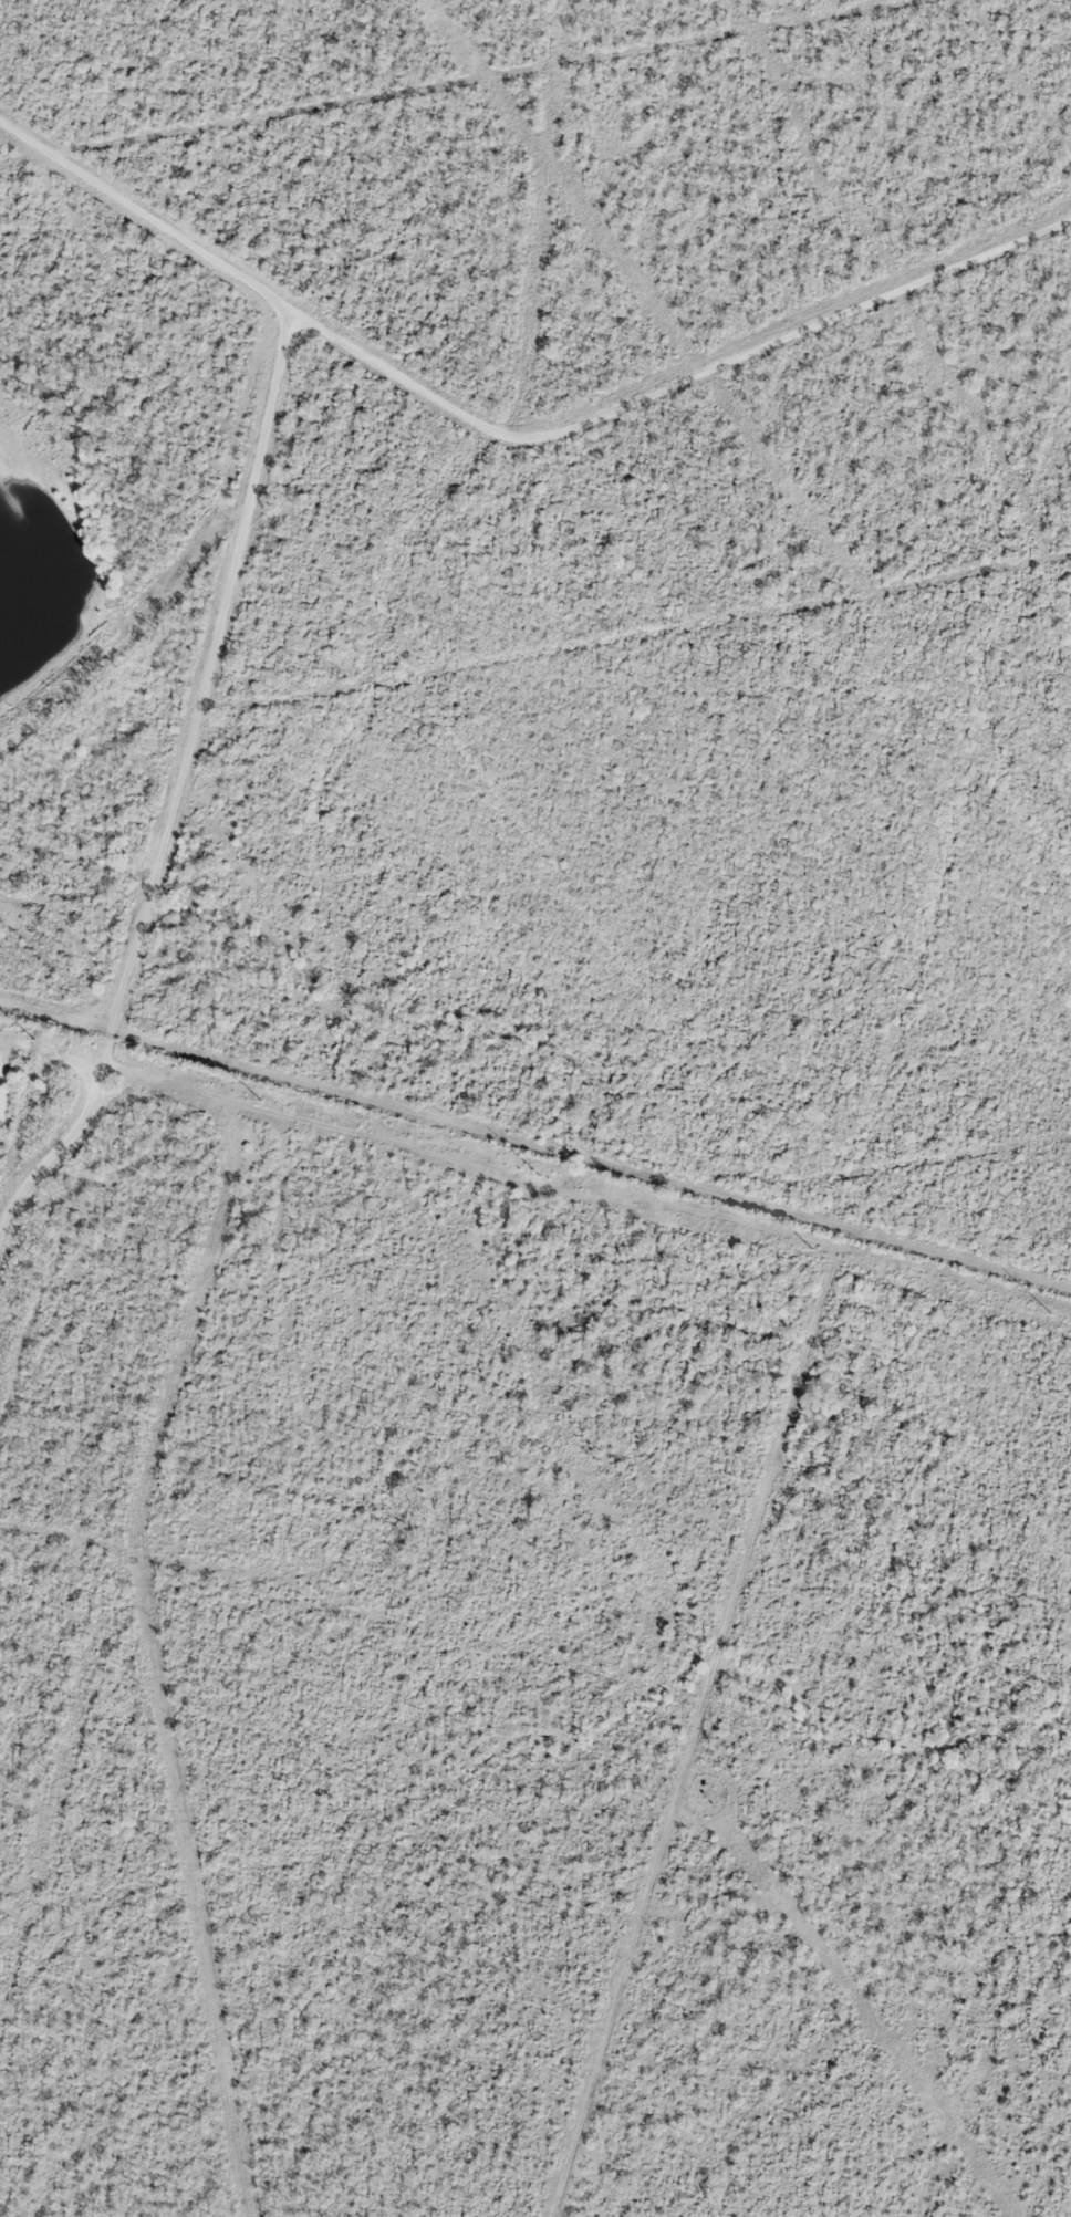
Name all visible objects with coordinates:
road: (512, 435)
power tower: (31, 1049)
power tower: (260, 1105)
power tower: (540, 1177)
power tower: (812, 1249)
power tower: (1051, 1315)

